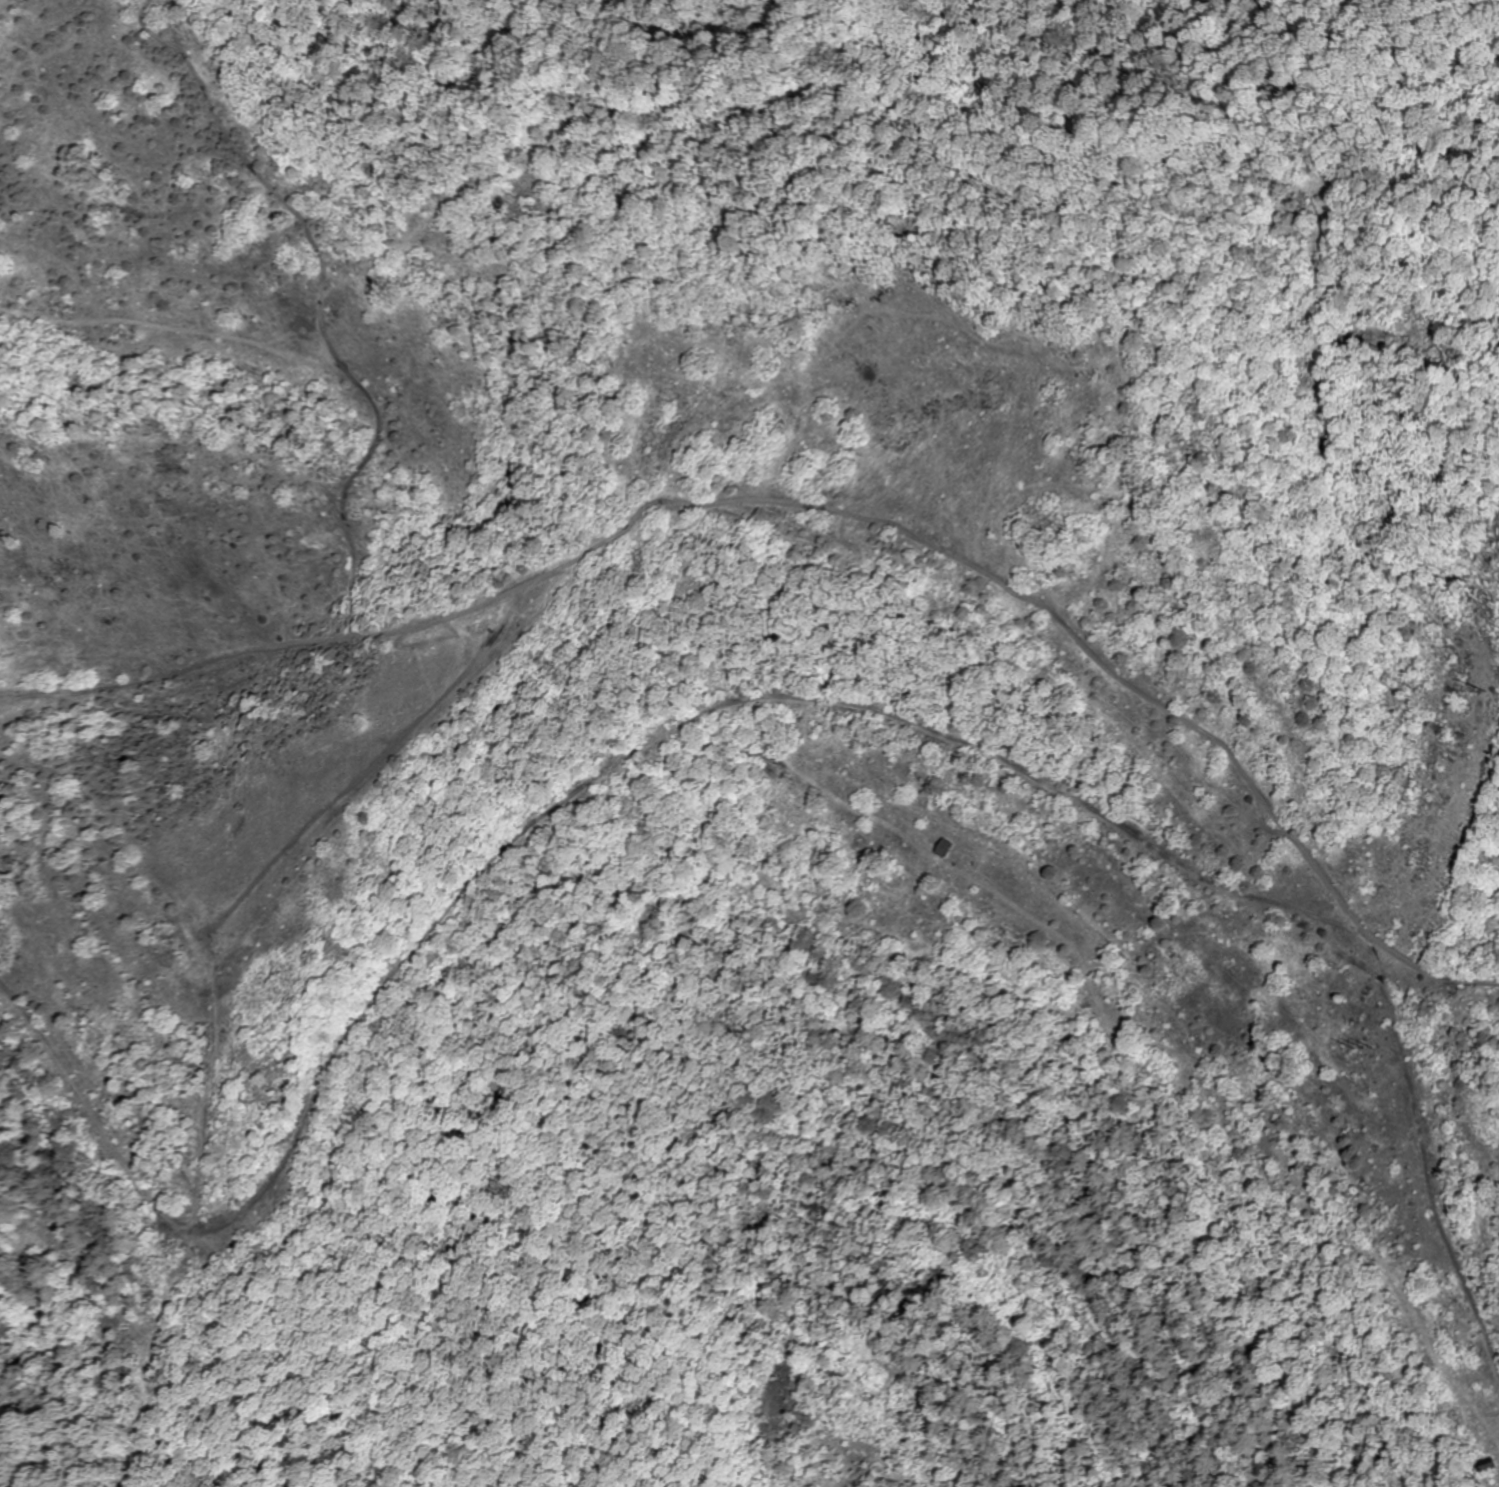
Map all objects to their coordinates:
power tower: (1483, 688)
building: (942, 848)
power tower: (1361, 1044)
building: (1489, 1469)

